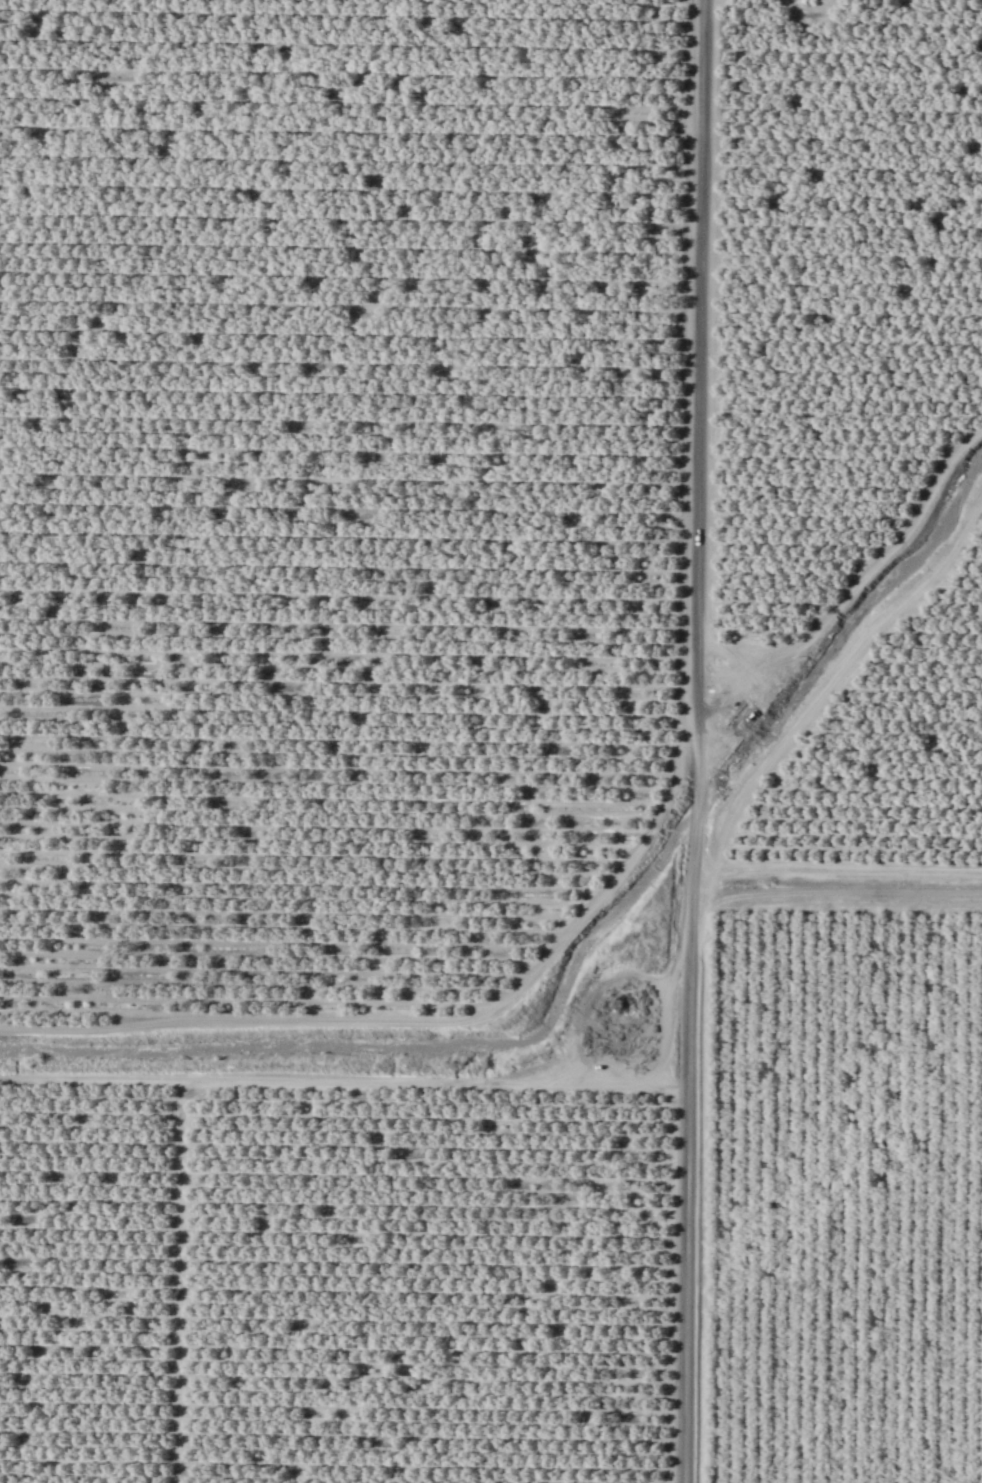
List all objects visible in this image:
road: (710, 362)
road: (852, 589)
road: (695, 741)
road: (846, 868)
road: (842, 890)
road: (704, 944)
road: (420, 1020)
road: (101, 1079)
road: (237, 1079)

